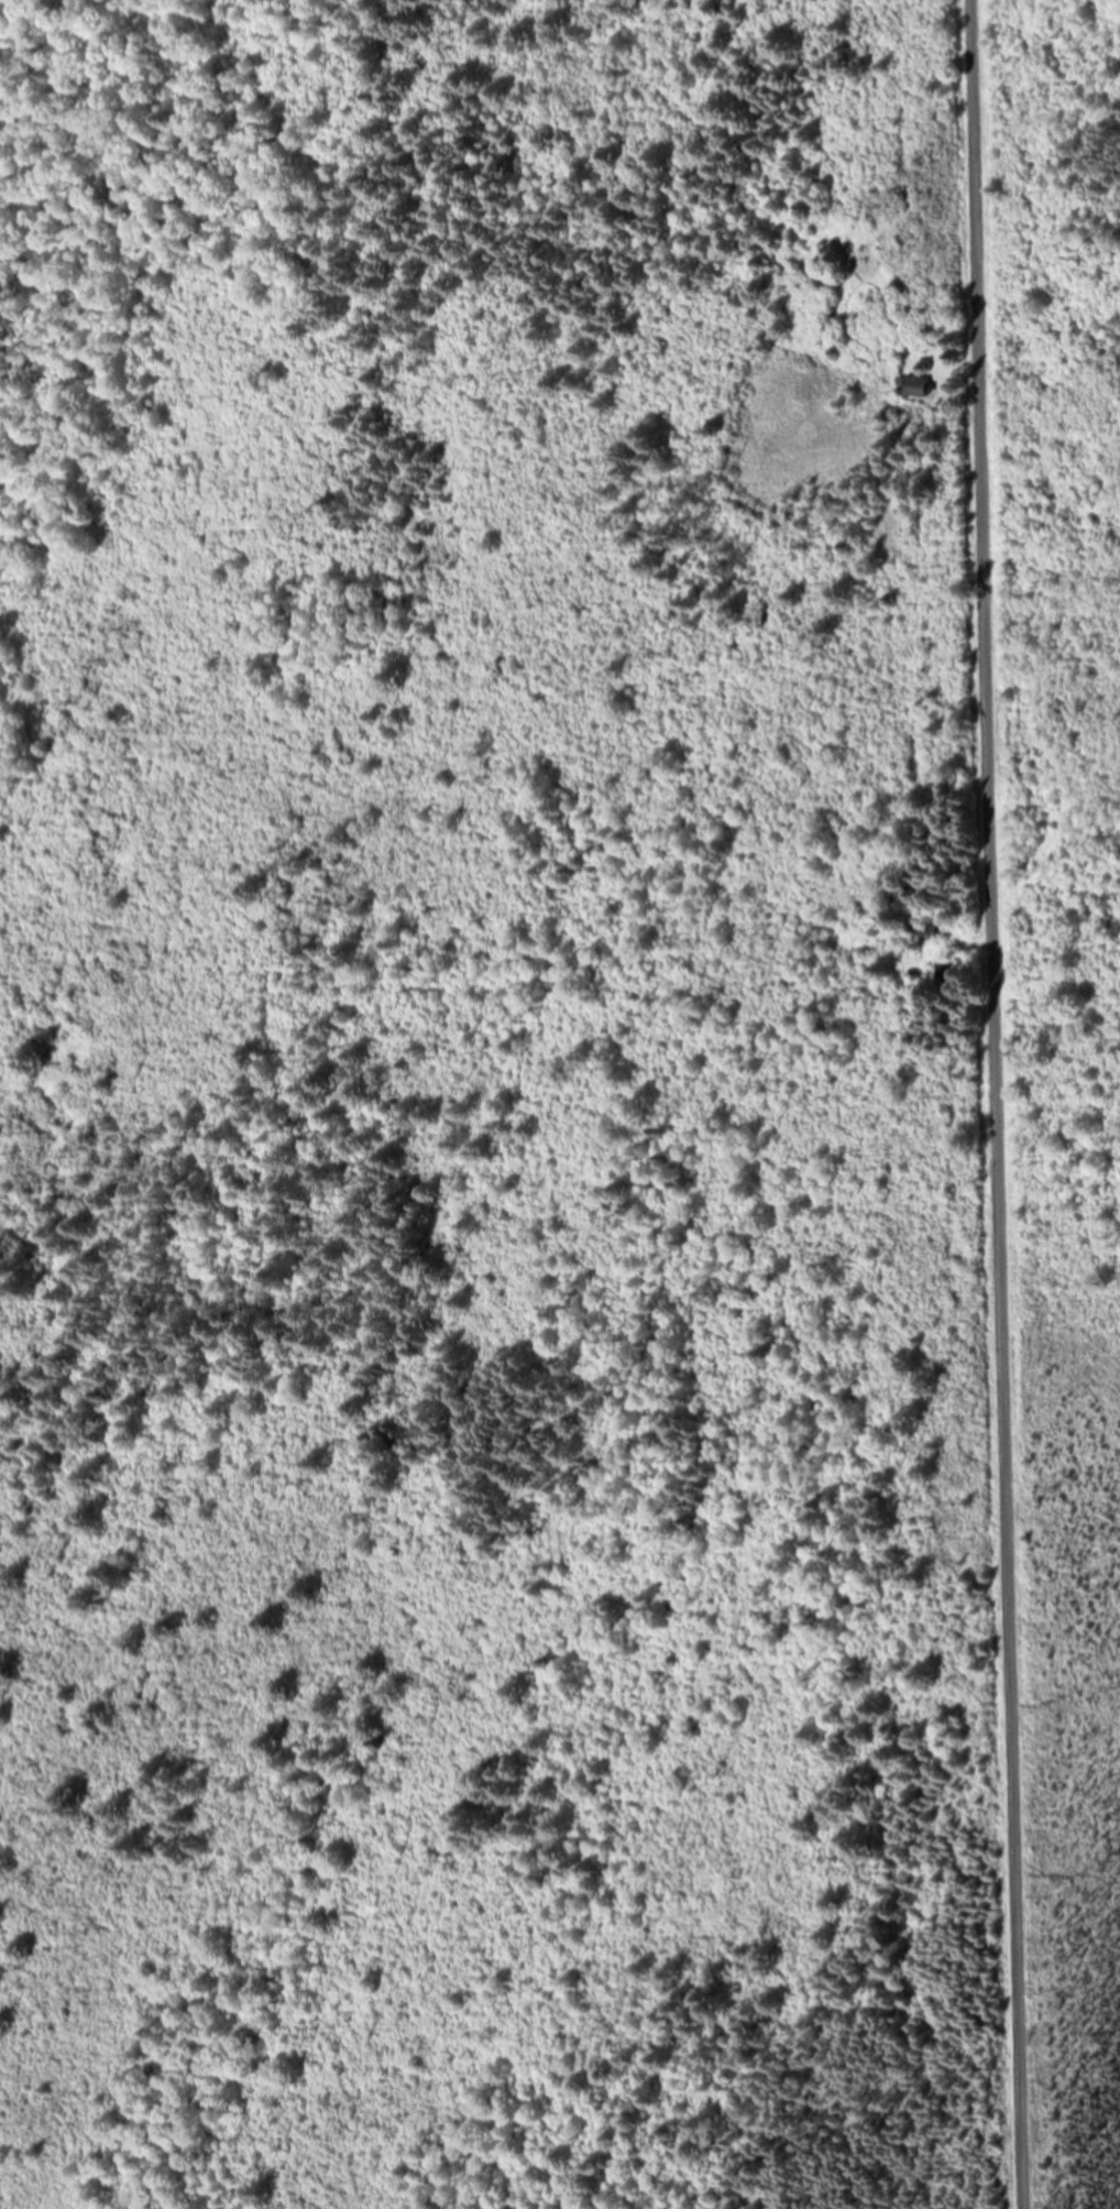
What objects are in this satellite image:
building: (925, 932)
road: (975, 1104)

